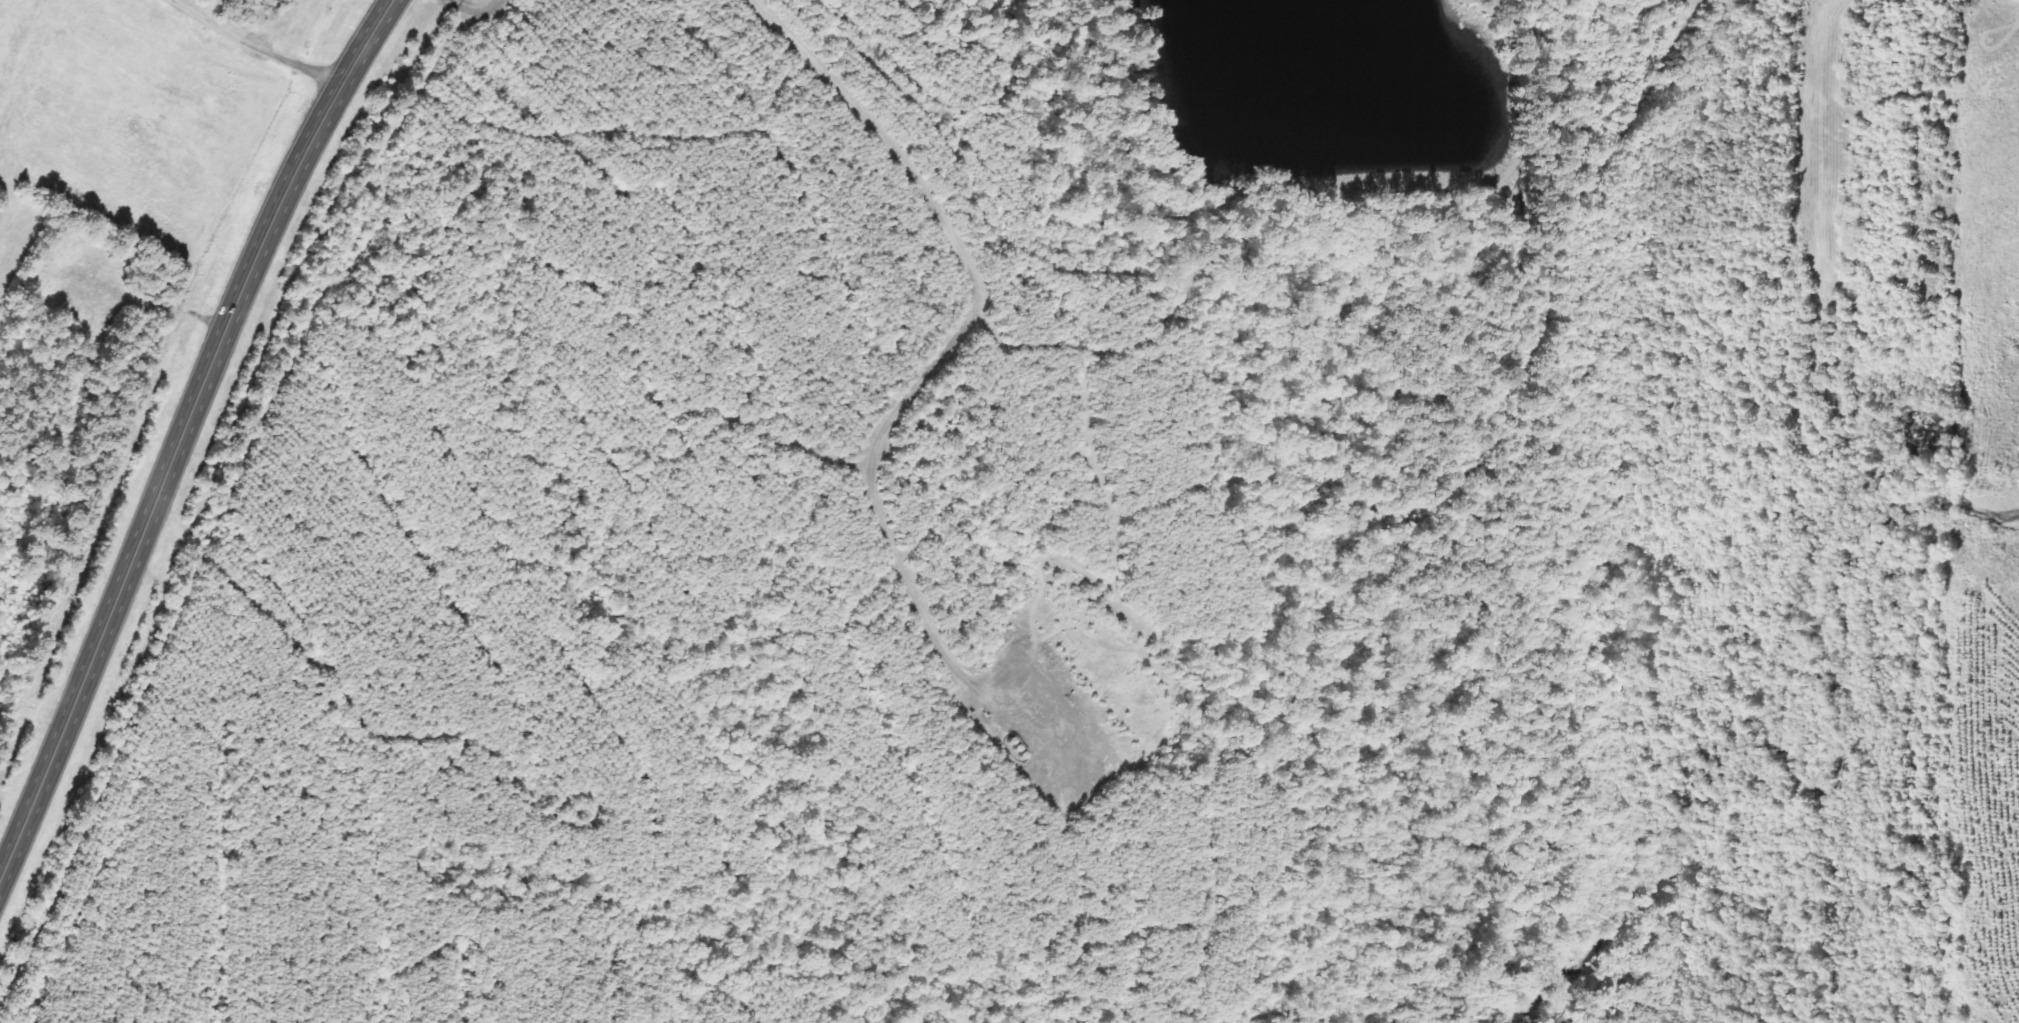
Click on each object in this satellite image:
road: (182, 434)

